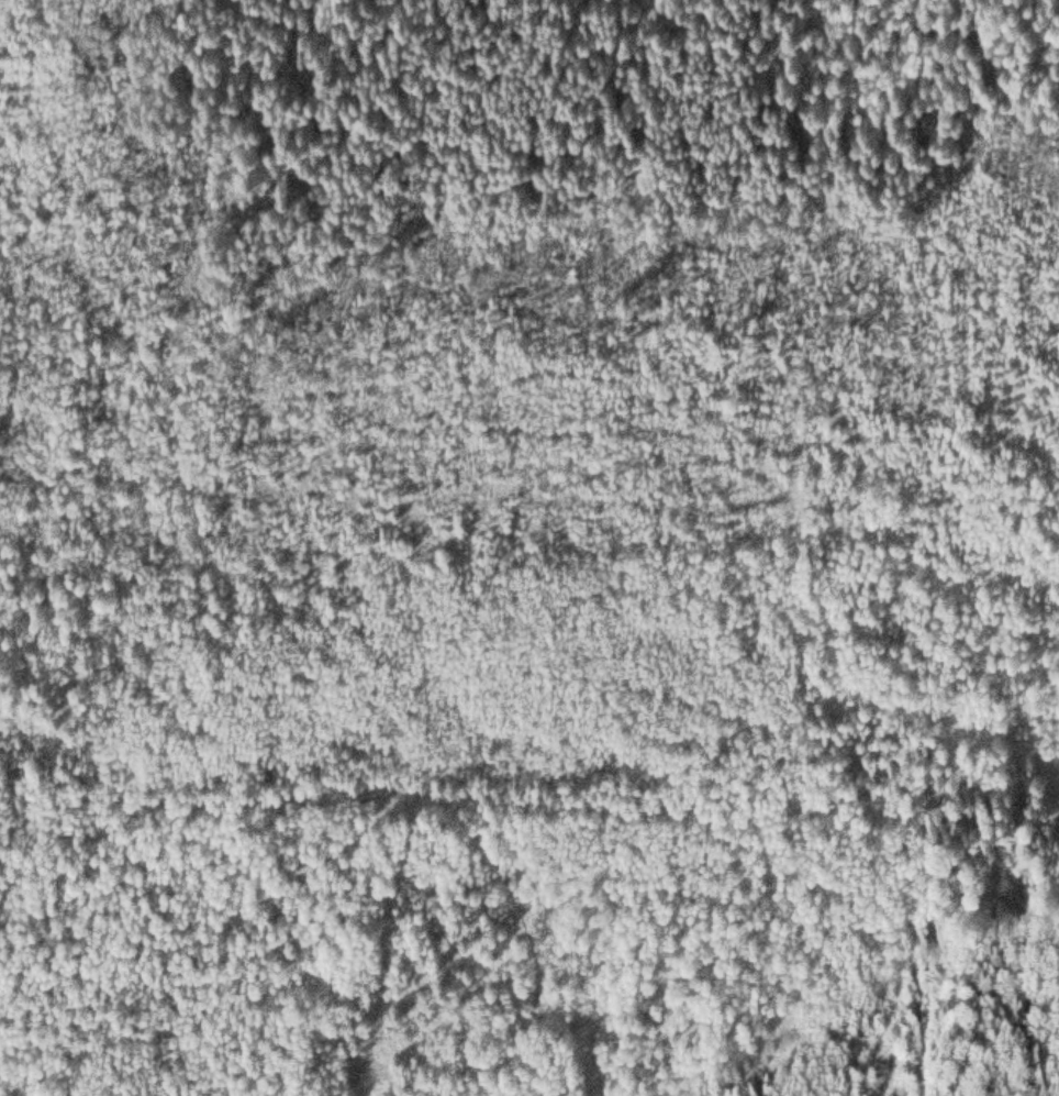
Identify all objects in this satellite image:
road: (500, 918)

